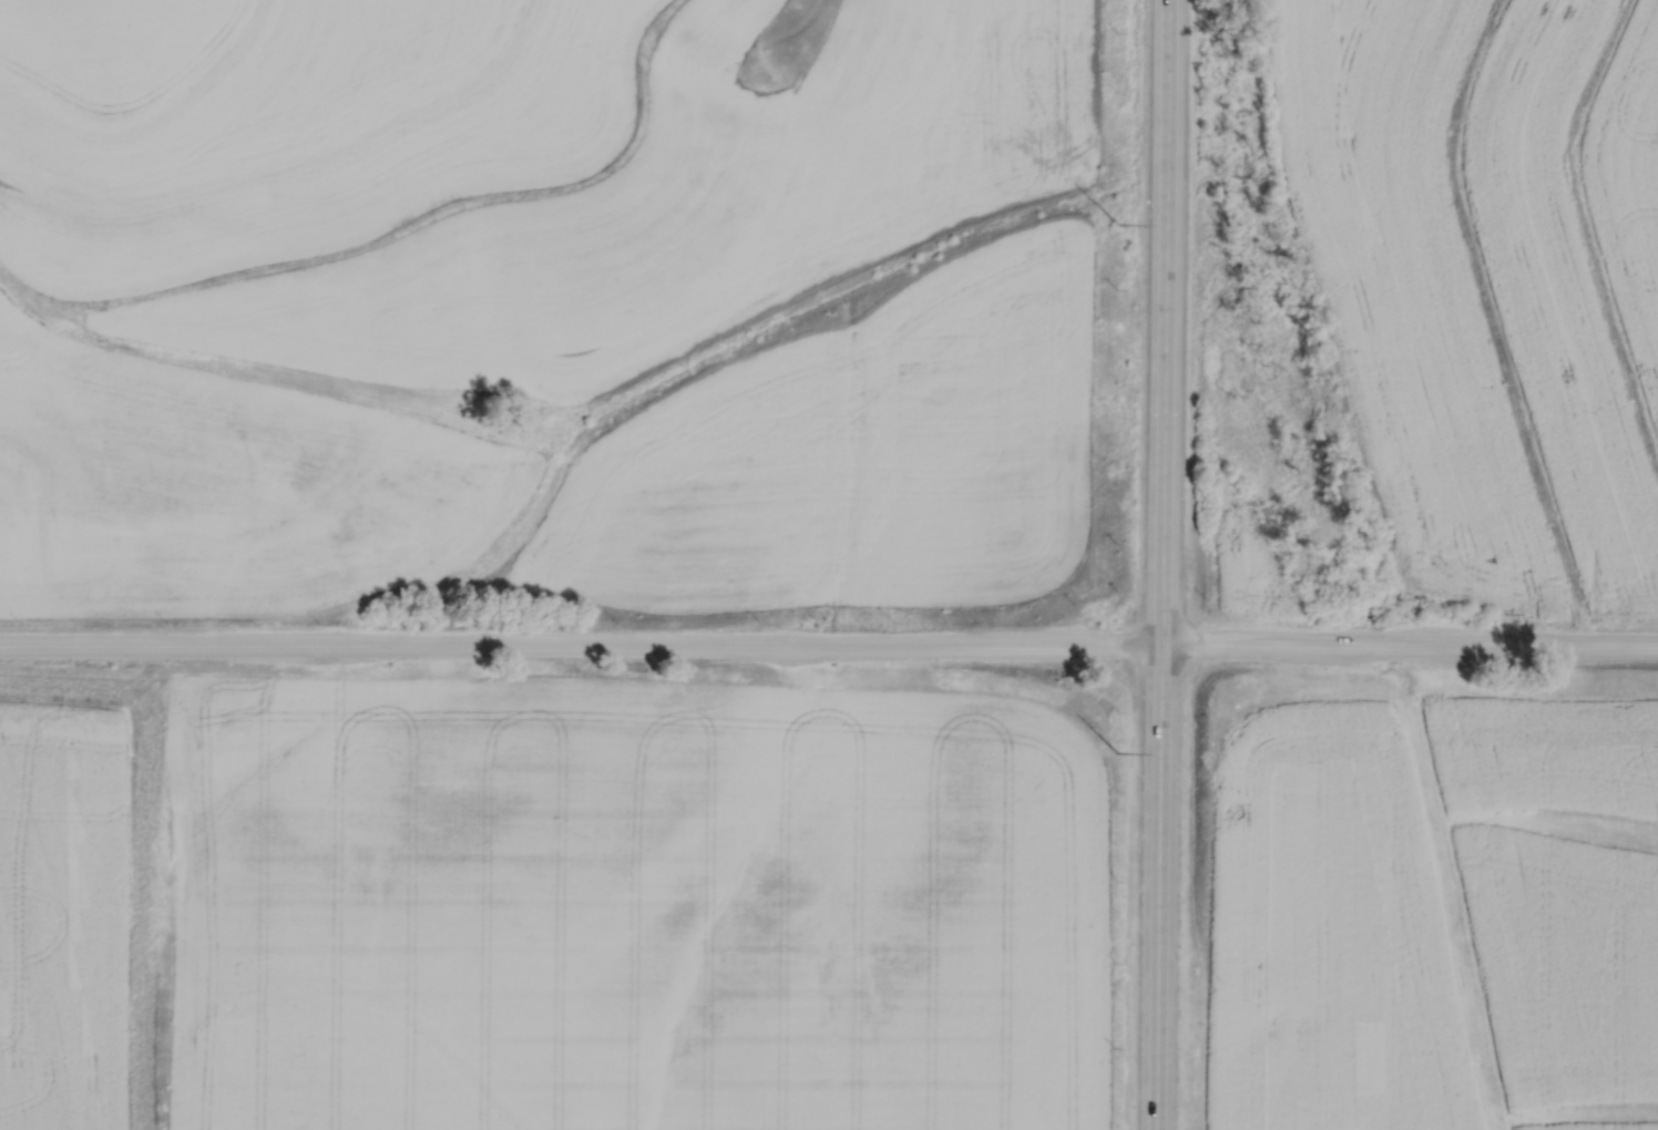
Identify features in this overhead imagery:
power tower: (1116, 224)
road: (1160, 564)
road: (829, 644)
power tower: (1112, 752)

